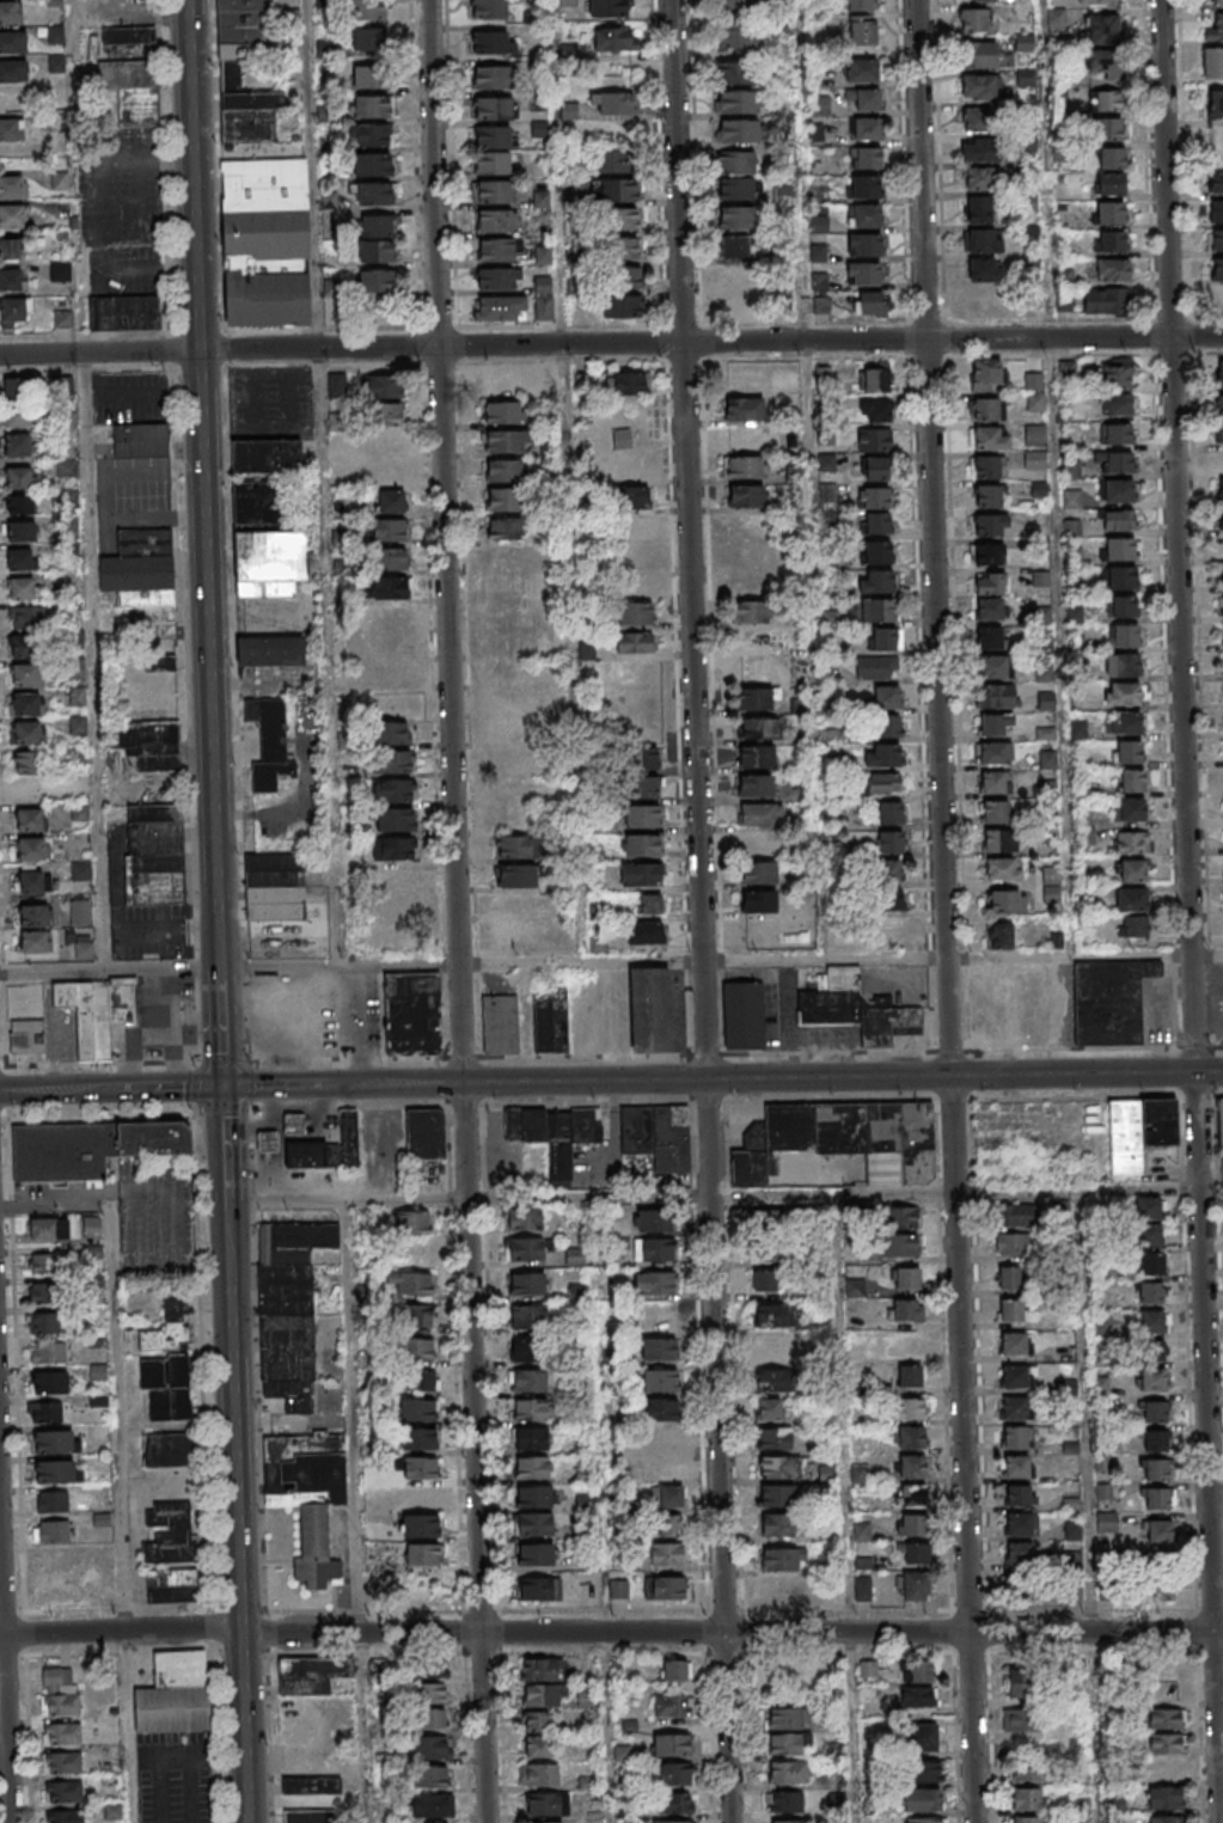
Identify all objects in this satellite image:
building: (1097, 1)
building: (735, 4)
building: (860, 5)
building: (611, 7)
building: (488, 8)
building: (369, 10)
building: (8, 11)
building: (1021, 13)
building: (976, 20)
building: (1052, 20)
building: (1101, 29)
building: (1215, 29)
building: (862, 30)
building: (55, 33)
building: (128, 35)
building: (736, 37)
building: (368, 38)
building: (616, 38)
building: (12, 42)
building: (491, 42)
building: (1023, 43)
building: (980, 54)
building: (55, 62)
building: (1103, 63)
building: (1212, 63)
building: (862, 69)
building: (13, 71)
building: (734, 73)
building: (230, 75)
building: (369, 77)
building: (491, 77)
building: (1025, 79)
building: (980, 87)
building: (133, 90)
building: (866, 98)
building: (612, 102)
building: (1107, 102)
building: (735, 103)
building: (372, 106)
building: (1216, 106)
building: (493, 108)
building: (977, 118)
building: (867, 128)
building: (1108, 130)
building: (740, 131)
building: (369, 134)
building: (13, 136)
building: (491, 136)
building: (982, 149)
building: (1217, 149)
building: (864, 159)
building: (1111, 159)
building: (612, 160)
building: (491, 163)
building: (372, 165)
road: (318, 173)
road: (104, 176)
building: (736, 176)
building: (979, 177)
building: (60, 181)
building: (1215, 183)
building: (1109, 185)
building: (12, 188)
building: (866, 188)
building: (614, 190)
building: (374, 192)
building: (493, 192)
building: (979, 208)
building: (1215, 212)
building: (1111, 214)
building: (863, 215)
building: (13, 218)
building: (736, 218)
building: (623, 219)
building: (495, 222)
building: (378, 224)
building: (983, 240)
building: (1213, 240)
building: (265, 241)
building: (1111, 241)
building: (864, 244)
building: (736, 246)
building: (625, 247)
building: (10, 249)
building: (377, 250)
building: (496, 251)
building: (985, 269)
building: (60, 270)
road: (159, 270)
building: (1107, 271)
building: (863, 273)
building: (626, 275)
building: (736, 275)
building: (10, 279)
building: (499, 279)
building: (375, 280)
building: (1217, 280)
building: (544, 298)
building: (1107, 300)
building: (869, 302)
building: (738, 304)
building: (623, 306)
building: (499, 307)
building: (13, 311)
building: (123, 312)
building: (62, 318)
road: (809, 338)
road: (611, 344)
building: (1118, 372)
building: (1221, 373)
building: (984, 375)
building: (876, 378)
building: (742, 379)
building: (625, 383)
building: (337, 385)
building: (502, 385)
building: (383, 386)
building: (17, 389)
building: (1034, 403)
building: (1119, 404)
building: (1219, 405)
building: (987, 408)
building: (744, 409)
building: (875, 409)
building: (502, 412)
building: (385, 415)
building: (17, 416)
building: (1221, 432)
building: (1114, 434)
building: (1034, 435)
building: (744, 438)
building: (990, 438)
building: (629, 439)
building: (874, 439)
building: (141, 440)
building: (507, 441)
building: (17, 443)
building: (384, 445)
building: (267, 455)
building: (1034, 460)
building: (1113, 461)
building: (746, 466)
building: (985, 466)
building: (630, 467)
building: (875, 467)
building: (1071, 469)
building: (506, 471)
building: (383, 473)
building: (22, 477)
road: (1060, 478)
road: (207, 482)
building: (1118, 490)
building: (1221, 490)
building: (987, 495)
building: (747, 496)
building: (636, 497)
building: (875, 497)
building: (1072, 498)
building: (259, 501)
building: (505, 501)
building: (20, 503)
building: (391, 503)
building: (1222, 519)
building: (1119, 520)
building: (877, 522)
building: (991, 525)
building: (634, 526)
building: (20, 530)
building: (506, 530)
building: (389, 531)
building: (1222, 547)
building: (1121, 550)
road: (573, 551)
building: (877, 552)
building: (746, 553)
building: (987, 553)
building: (20, 558)
building: (389, 558)
building: (507, 558)
building: (270, 562)
building: (1222, 576)
building: (1040, 579)
building: (1120, 579)
building: (142, 580)
building: (748, 582)
building: (876, 582)
building: (991, 583)
building: (510, 586)
building: (635, 586)
building: (390, 587)
building: (24, 588)
building: (1222, 605)
building: (1121, 607)
building: (989, 608)
building: (750, 611)
building: (876, 611)
building: (635, 614)
building: (27, 617)
building: (385, 617)
building: (1121, 636)
building: (989, 637)
building: (885, 638)
building: (754, 641)
building: (513, 643)
building: (635, 643)
building: (23, 646)
building: (392, 646)
building: (270, 650)
road: (92, 661)
building: (163, 662)
building: (1123, 665)
building: (995, 666)
building: (876, 667)
building: (637, 672)
building: (510, 673)
building: (24, 675)
building: (1121, 693)
building: (77, 695)
building: (995, 695)
building: (886, 696)
building: (757, 698)
building: (637, 699)
building: (24, 703)
building: (515, 703)
building: (393, 704)
building: (1125, 722)
building: (996, 723)
building: (888, 724)
building: (757, 727)
building: (25, 733)
building: (393, 733)
building: (510, 733)
building: (269, 738)
building: (148, 744)
building: (1127, 751)
building: (993, 752)
building: (882, 754)
building: (757, 757)
building: (647, 759)
building: (396, 760)
building: (29, 761)
building: (513, 761)
building: (1132, 781)
building: (995, 782)
building: (885, 783)
building: (756, 785)
building: (644, 787)
building: (30, 790)
building: (393, 790)
building: (514, 790)
building: (1130, 810)
building: (891, 812)
building: (997, 812)
building: (760, 815)
building: (642, 816)
road: (705, 816)
building: (512, 818)
building: (30, 819)
building: (395, 819)
building: (891, 842)
building: (999, 842)
building: (1130, 842)
building: (642, 845)
building: (513, 846)
building: (31, 848)
building: (395, 848)
building: (154, 854)
road: (831, 869)
building: (1132, 869)
building: (81, 870)
building: (888, 870)
building: (1003, 870)
building: (641, 873)
building: (758, 873)
building: (516, 875)
building: (32, 880)
building: (395, 880)
building: (1051, 885)
building: (275, 886)
building: (888, 899)
building: (1131, 899)
building: (1005, 901)
building: (650, 903)
building: (759, 903)
building: (514, 904)
road: (455, 911)
road: (949, 911)
road: (1193, 911)
building: (36, 914)
building: (1132, 926)
road: (126, 928)
building: (644, 932)
building: (760, 932)
building: (1001, 935)
building: (509, 936)
building: (393, 938)
building: (35, 941)
building: (84, 949)
road: (611, 962)
building: (1004, 991)
building: (1109, 1001)
building: (856, 1008)
building: (650, 1009)
building: (96, 1011)
building: (412, 1014)
building: (744, 1015)
building: (500, 1023)
building: (552, 1023)
road: (357, 1024)
road: (220, 1026)
building: (26, 1036)
road: (735, 1059)
road: (842, 1077)
road: (341, 1085)
traffic signals: (222, 1087)
road: (111, 1089)
building: (1221, 1122)
building: (299, 1127)
building: (1139, 1131)
building: (555, 1132)
building: (426, 1133)
building: (659, 1134)
building: (843, 1139)
building: (353, 1140)
road: (225, 1143)
building: (271, 1144)
building: (91, 1146)
building: (317, 1157)
road: (1091, 1191)
road: (593, 1195)
building: (1149, 1207)
building: (899, 1216)
building: (1016, 1216)
building: (653, 1219)
building: (524, 1221)
building: (766, 1221)
building: (411, 1223)
building: (91, 1226)
building: (49, 1228)
building: (1150, 1234)
building: (901, 1243)
building: (1013, 1244)
building: (524, 1249)
building: (654, 1249)
building: (768, 1252)
building: (94, 1254)
building: (575, 1255)
building: (41, 1262)
building: (1151, 1262)
building: (905, 1277)
building: (1009, 1279)
building: (764, 1281)
building: (410, 1283)
building: (655, 1283)
building: (526, 1284)
building: (852, 1287)
building: (1150, 1291)
building: (42, 1292)
building: (289, 1309)
building: (907, 1309)
building: (1011, 1311)
building: (412, 1315)
building: (658, 1315)
building: (775, 1316)
building: (527, 1317)
building: (1151, 1321)
building: (44, 1322)
building: (905, 1344)
building: (1015, 1344)
building: (418, 1348)
building: (659, 1348)
building: (1154, 1350)
building: (525, 1351)
building: (48, 1352)
road: (121, 1363)
building: (167, 1364)
building: (97, 1372)
building: (910, 1376)
building: (1019, 1376)
building: (773, 1380)
building: (48, 1381)
building: (422, 1381)
building: (528, 1381)
building: (660, 1381)
building: (1152, 1381)
building: (98, 1401)
building: (1016, 1408)
building: (531, 1409)
building: (661, 1409)
building: (771, 1409)
building: (907, 1409)
building: (44, 1411)
building: (421, 1411)
building: (1154, 1413)
building: (1016, 1437)
building: (530, 1438)
building: (775, 1438)
building: (911, 1438)
building: (661, 1439)
building: (56, 1440)
building: (421, 1440)
building: (1155, 1442)
building: (167, 1449)
building: (1015, 1466)
building: (531, 1467)
building: (778, 1467)
building: (912, 1467)
building: (421, 1468)
building: (1155, 1469)
building: (57, 1472)
building: (1020, 1494)
building: (775, 1495)
building: (308, 1497)
building: (420, 1497)
building: (536, 1497)
building: (671, 1497)
building: (912, 1497)
building: (1156, 1499)
building: (51, 1501)
road: (1093, 1506)
road: (848, 1507)
road: (236, 1511)
road: (359, 1512)
building: (534, 1524)
building: (1021, 1524)
building: (420, 1525)
building: (671, 1525)
building: (777, 1525)
building: (911, 1527)
building: (53, 1531)
building: (1158, 1533)
building: (169, 1534)
building: (667, 1553)
building: (422, 1554)
building: (534, 1554)
building: (1019, 1554)
building: (912, 1555)
building: (56, 1560)
building: (779, 1560)
building: (171, 1585)
building: (666, 1586)
building: (913, 1586)
building: (1160, 1588)
building: (539, 1589)
building: (619, 1589)
building: (1017, 1590)
building: (56, 1595)
building: (105, 1595)
road: (611, 1633)
road: (5, 1658)
building: (378, 1666)
building: (430, 1669)
building: (540, 1669)
building: (675, 1669)
building: (1161, 1669)
building: (779, 1670)
building: (918, 1671)
building: (833, 1672)
building: (312, 1674)
building: (1017, 1683)
building: (59, 1692)
building: (430, 1693)
building: (540, 1695)
building: (176, 1696)
building: (917, 1696)
building: (672, 1706)
building: (784, 1718)
building: (432, 1719)
building: (1166, 1719)
building: (1022, 1720)
building: (536, 1721)
road: (612, 1727)
road: (734, 1727)
building: (61, 1733)
building: (925, 1737)
building: (785, 1743)
building: (1167, 1743)
building: (538, 1746)
building: (671, 1746)
building: (428, 1748)
building: (62, 1762)
building: (1164, 1768)
building: (788, 1772)
building: (928, 1772)
building: (1029, 1772)
building: (539, 1774)
building: (674, 1775)
building: (430, 1778)
building: (311, 1785)
building: (62, 1791)
building: (1163, 1798)
building: (922, 1799)
building: (1027, 1799)
building: (785, 1801)
building: (546, 1804)
building: (674, 1804)
building: (432, 1805)
building: (112, 1812)
building: (65, 1816)
building: (305, 1816)
building: (1163, 1819)
building: (787, 1821)
building: (925, 1821)
building: (1028, 1821)
building: (544, 1822)
building: (674, 1822)

